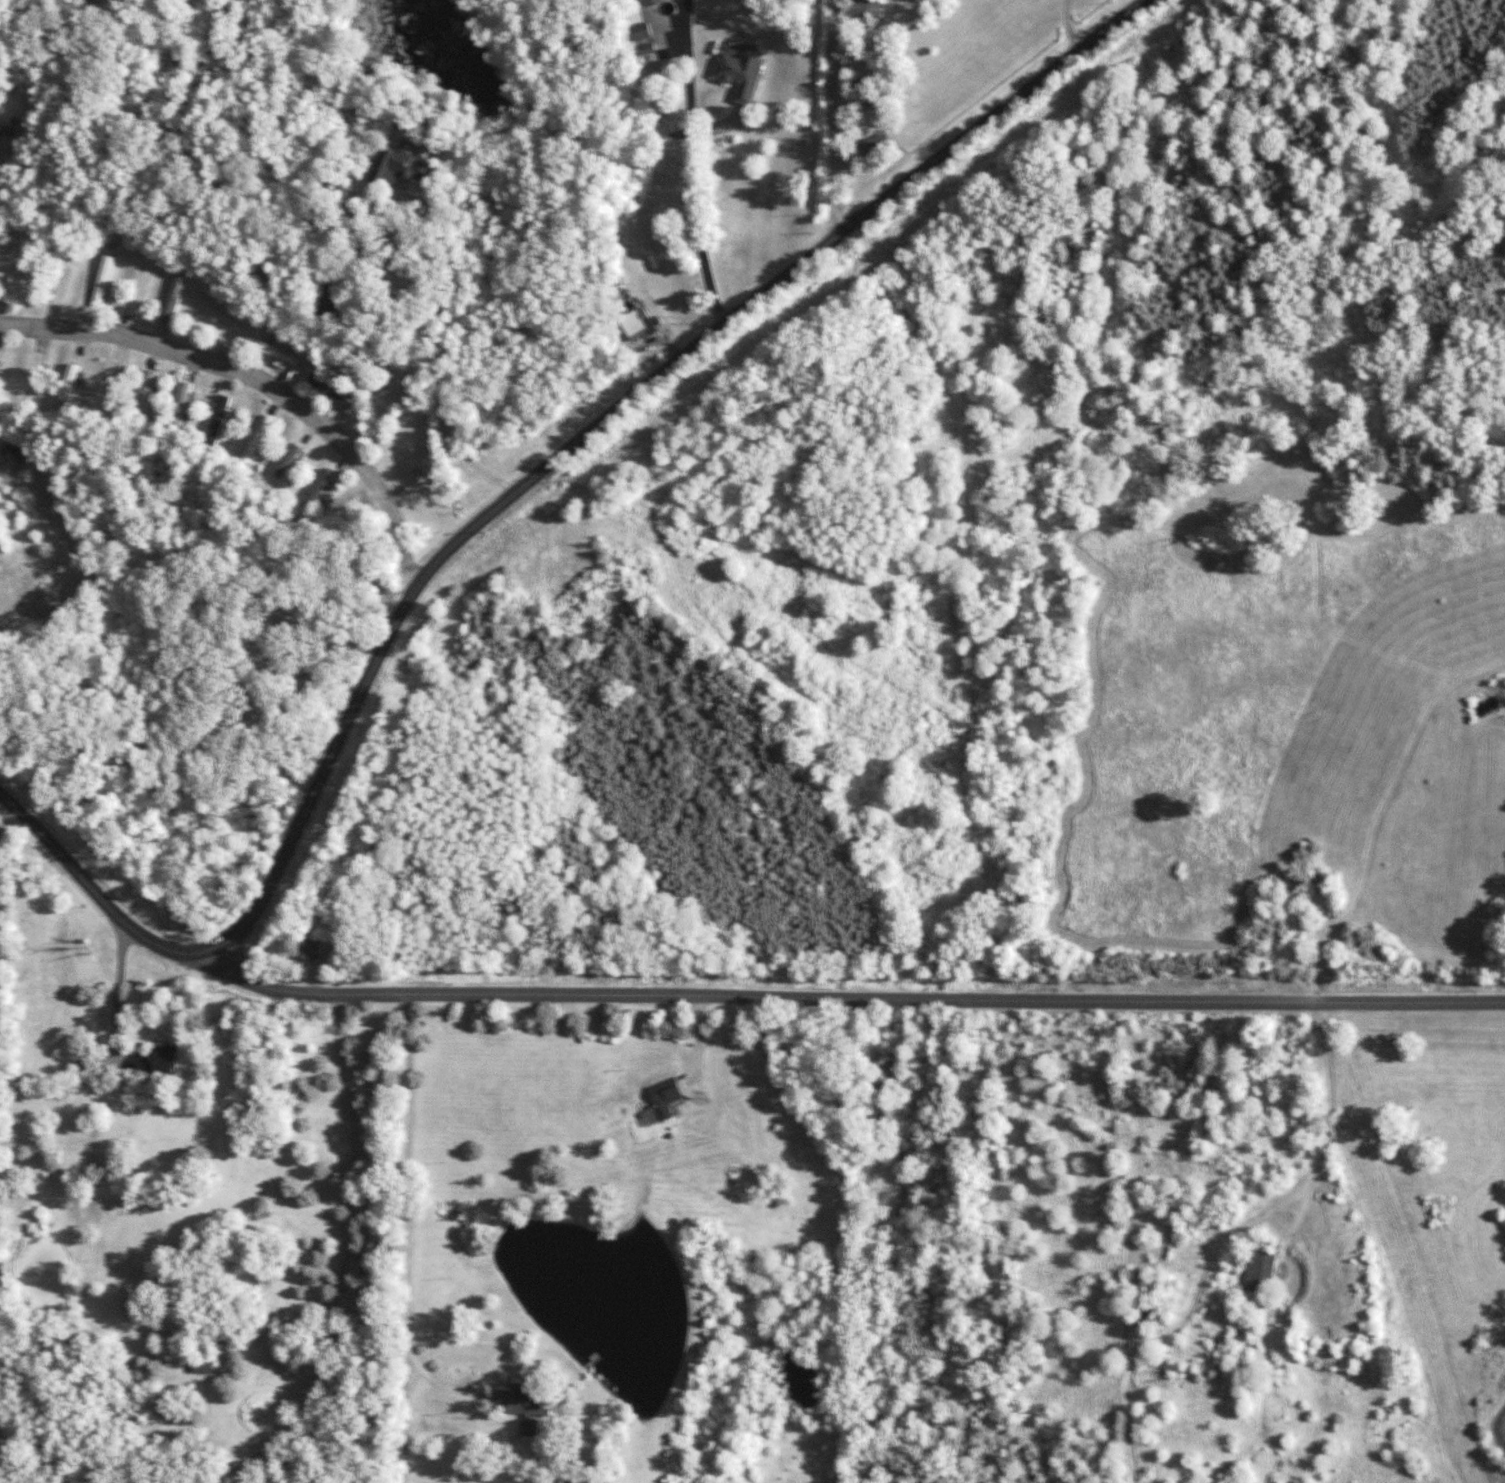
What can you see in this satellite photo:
building: (652, 2)
building: (864, 10)
road: (1066, 25)
building: (641, 31)
building: (738, 75)
road: (836, 114)
building: (873, 144)
road: (697, 161)
building: (400, 163)
building: (103, 280)
building: (174, 299)
building: (326, 299)
building: (636, 324)
building: (277, 353)
road: (429, 361)
building: (70, 381)
road: (256, 382)
building: (330, 392)
building: (144, 395)
building: (180, 407)
road: (618, 409)
building: (218, 417)
building: (285, 461)
building: (319, 487)
road: (105, 900)
building: (309, 949)
road: (853, 997)
building: (158, 1060)
building: (664, 1097)
road: (1314, 1165)
road: (406, 1213)
road: (344, 1261)
building: (1258, 1269)
building: (523, 1407)
road: (403, 1416)

